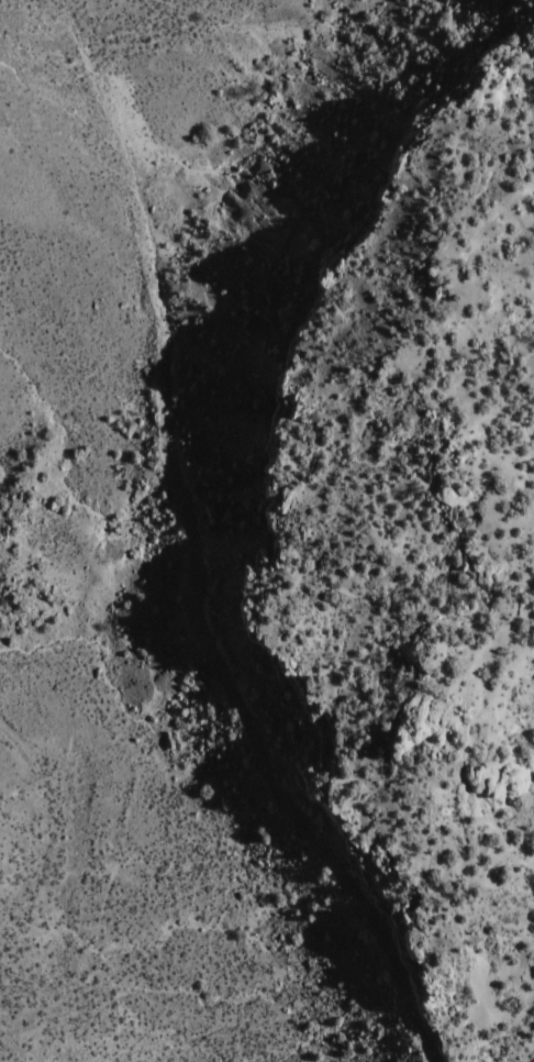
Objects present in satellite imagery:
road: (201, 593)

